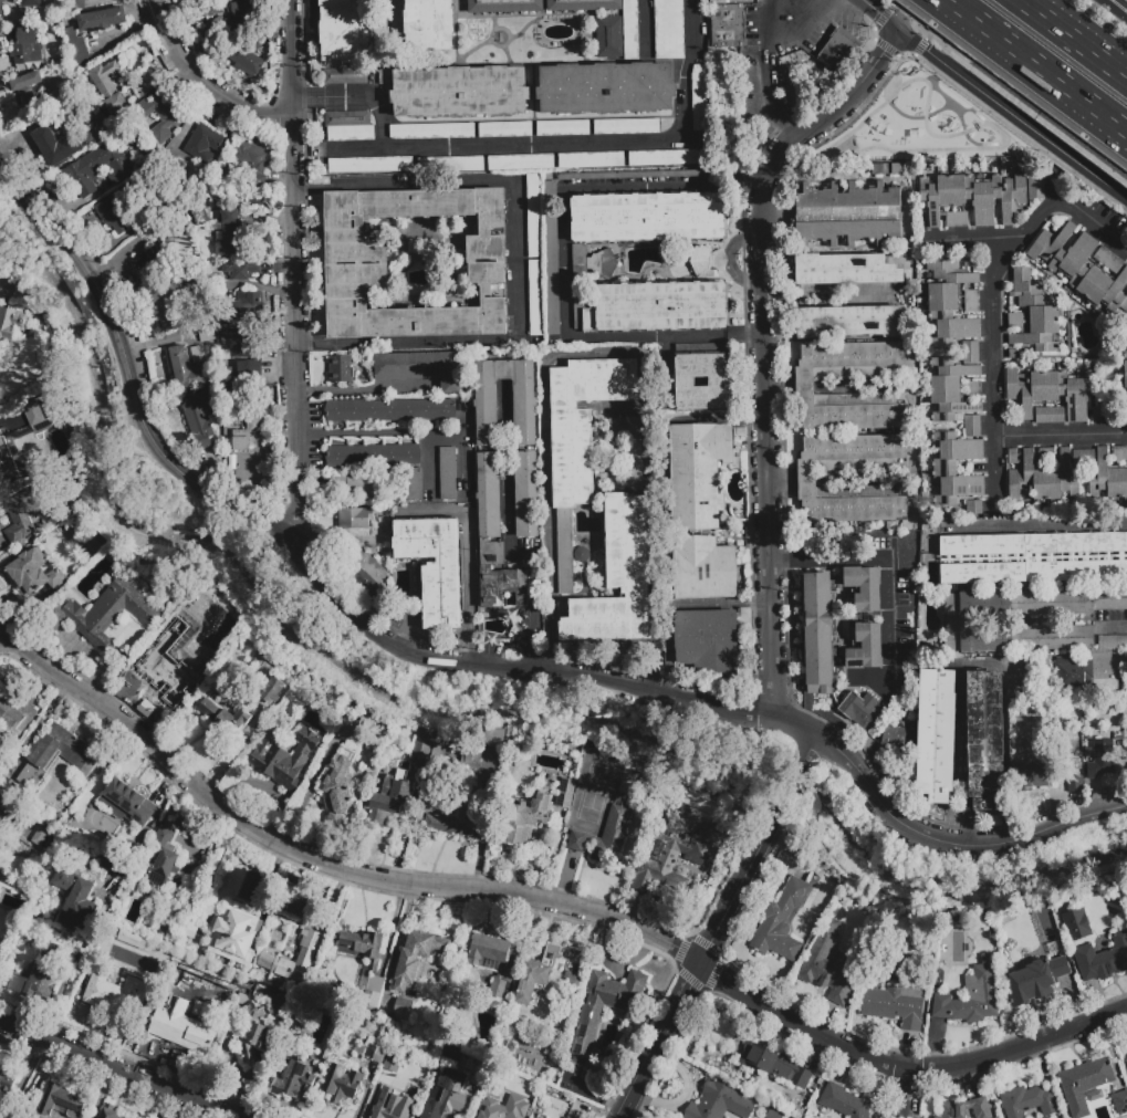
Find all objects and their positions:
building: (76, 1)
building: (30, 3)
building: (503, 6)
building: (582, 6)
building: (1, 7)
road: (772, 8)
road: (1115, 9)
building: (240, 10)
road: (880, 14)
building: (101, 19)
building: (429, 24)
building: (724, 24)
road: (648, 27)
road: (801, 28)
building: (629, 29)
building: (668, 29)
building: (213, 30)
building: (344, 31)
building: (27, 35)
building: (608, 36)
road: (1072, 40)
building: (75, 48)
building: (837, 51)
building: (25, 53)
building: (248, 63)
road: (1034, 67)
road: (977, 71)
building: (345, 76)
road: (202, 80)
road: (769, 83)
building: (107, 87)
building: (605, 87)
building: (459, 92)
building: (28, 93)
building: (747, 95)
road: (356, 97)
building: (699, 97)
road: (1014, 111)
building: (163, 117)
building: (70, 118)
building: (348, 126)
building: (562, 127)
building: (626, 127)
building: (505, 129)
building: (91, 132)
building: (431, 132)
building: (202, 140)
road: (577, 142)
building: (55, 145)
road: (1082, 149)
building: (250, 156)
building: (667, 158)
building: (591, 160)
building: (521, 163)
building: (371, 165)
building: (450, 165)
building: (95, 169)
building: (874, 169)
building: (898, 169)
road: (1067, 175)
building: (254, 190)
building: (979, 197)
building: (119, 203)
building: (199, 213)
building: (847, 213)
building: (533, 217)
building: (647, 218)
road: (1093, 219)
building: (229, 234)
road: (956, 238)
building: (1064, 251)
building: (551, 258)
road: (563, 260)
road: (514, 261)
building: (356, 262)
building: (152, 264)
building: (599, 264)
building: (845, 270)
building: (241, 271)
road: (294, 273)
building: (1104, 280)
building: (581, 290)
building: (535, 297)
building: (168, 305)
building: (242, 305)
building: (661, 307)
building: (1032, 316)
building: (852, 321)
building: (11, 323)
building: (208, 335)
building: (236, 335)
building: (952, 336)
road: (766, 345)
road: (604, 353)
building: (198, 354)
road: (992, 359)
building: (187, 368)
building: (340, 368)
building: (419, 368)
building: (241, 372)
building: (1125, 374)
road: (128, 375)
building: (683, 382)
building: (804, 385)
building: (973, 389)
road: (365, 390)
building: (1051, 394)
building: (390, 410)
building: (486, 412)
building: (1050, 415)
building: (197, 419)
building: (249, 421)
road: (379, 430)
building: (25, 432)
road: (462, 439)
building: (580, 440)
building: (633, 452)
building: (1120, 453)
building: (1045, 454)
building: (373, 456)
building: (1012, 457)
building: (947, 461)
road: (429, 463)
building: (446, 473)
building: (697, 473)
road: (993, 473)
building: (1050, 477)
building: (805, 478)
building: (1106, 478)
building: (413, 484)
building: (355, 485)
building: (488, 503)
building: (32, 508)
building: (973, 509)
building: (353, 523)
road: (1037, 523)
building: (906, 541)
road: (511, 546)
building: (907, 550)
road: (468, 552)
building: (1034, 556)
building: (906, 557)
building: (436, 567)
building: (703, 568)
building: (906, 568)
road: (885, 572)
building: (32, 573)
building: (910, 577)
building: (371, 578)
building: (616, 578)
building: (502, 588)
building: (864, 588)
building: (1109, 598)
building: (900, 606)
building: (101, 614)
building: (185, 614)
building: (954, 620)
road: (1112, 626)
building: (818, 633)
road: (535, 638)
building: (1113, 641)
building: (708, 642)
building: (866, 647)
building: (166, 669)
building: (1072, 673)
building: (271, 691)
road: (711, 704)
building: (860, 710)
building: (15, 714)
building: (222, 722)
building: (352, 729)
building: (936, 734)
building: (985, 740)
building: (896, 741)
road: (810, 749)
building: (421, 750)
building: (481, 751)
building: (61, 752)
building: (282, 756)
building: (1096, 756)
building: (1032, 777)
building: (337, 783)
building: (1073, 783)
road: (792, 786)
building: (564, 793)
building: (393, 797)
building: (461, 801)
building: (125, 804)
building: (528, 817)
building: (182, 824)
building: (606, 833)
building: (39, 836)
building: (163, 854)
building: (674, 858)
building: (118, 867)
building: (248, 886)
road: (547, 903)
building: (77, 910)
building: (780, 921)
building: (1075, 924)
building: (232, 938)
building: (301, 942)
building: (0, 944)
building: (1053, 944)
building: (361, 947)
building: (487, 950)
building: (1, 953)
building: (303, 955)
building: (416, 959)
building: (1103, 959)
road: (701, 963)
building: (827, 965)
building: (535, 974)
building: (1035, 980)
building: (573, 982)
building: (35, 983)
building: (253, 989)
building: (112, 995)
building: (972, 995)
building: (368, 1000)
building: (500, 1000)
building: (895, 1005)
building: (180, 1009)
building: (401, 1009)
building: (586, 1031)
building: (252, 1033)
building: (372, 1053)
building: (0, 1063)
building: (392, 1063)
building: (1126, 1063)
building: (775, 1066)
road: (118, 1069)
road: (23, 1077)
building: (295, 1080)
building: (342, 1085)
building: (1085, 1085)
building: (6, 1086)
road: (904, 1093)
building: (446, 1095)
building: (1027, 1101)
building: (1120, 1101)
building: (58, 1103)
building: (720, 1103)
building: (844, 1103)
building: (390, 1105)
building: (503, 1107)
building: (964, 1109)
building: (107, 1111)
road: (640, 1111)
building: (774, 1114)
building: (562, 1117)

